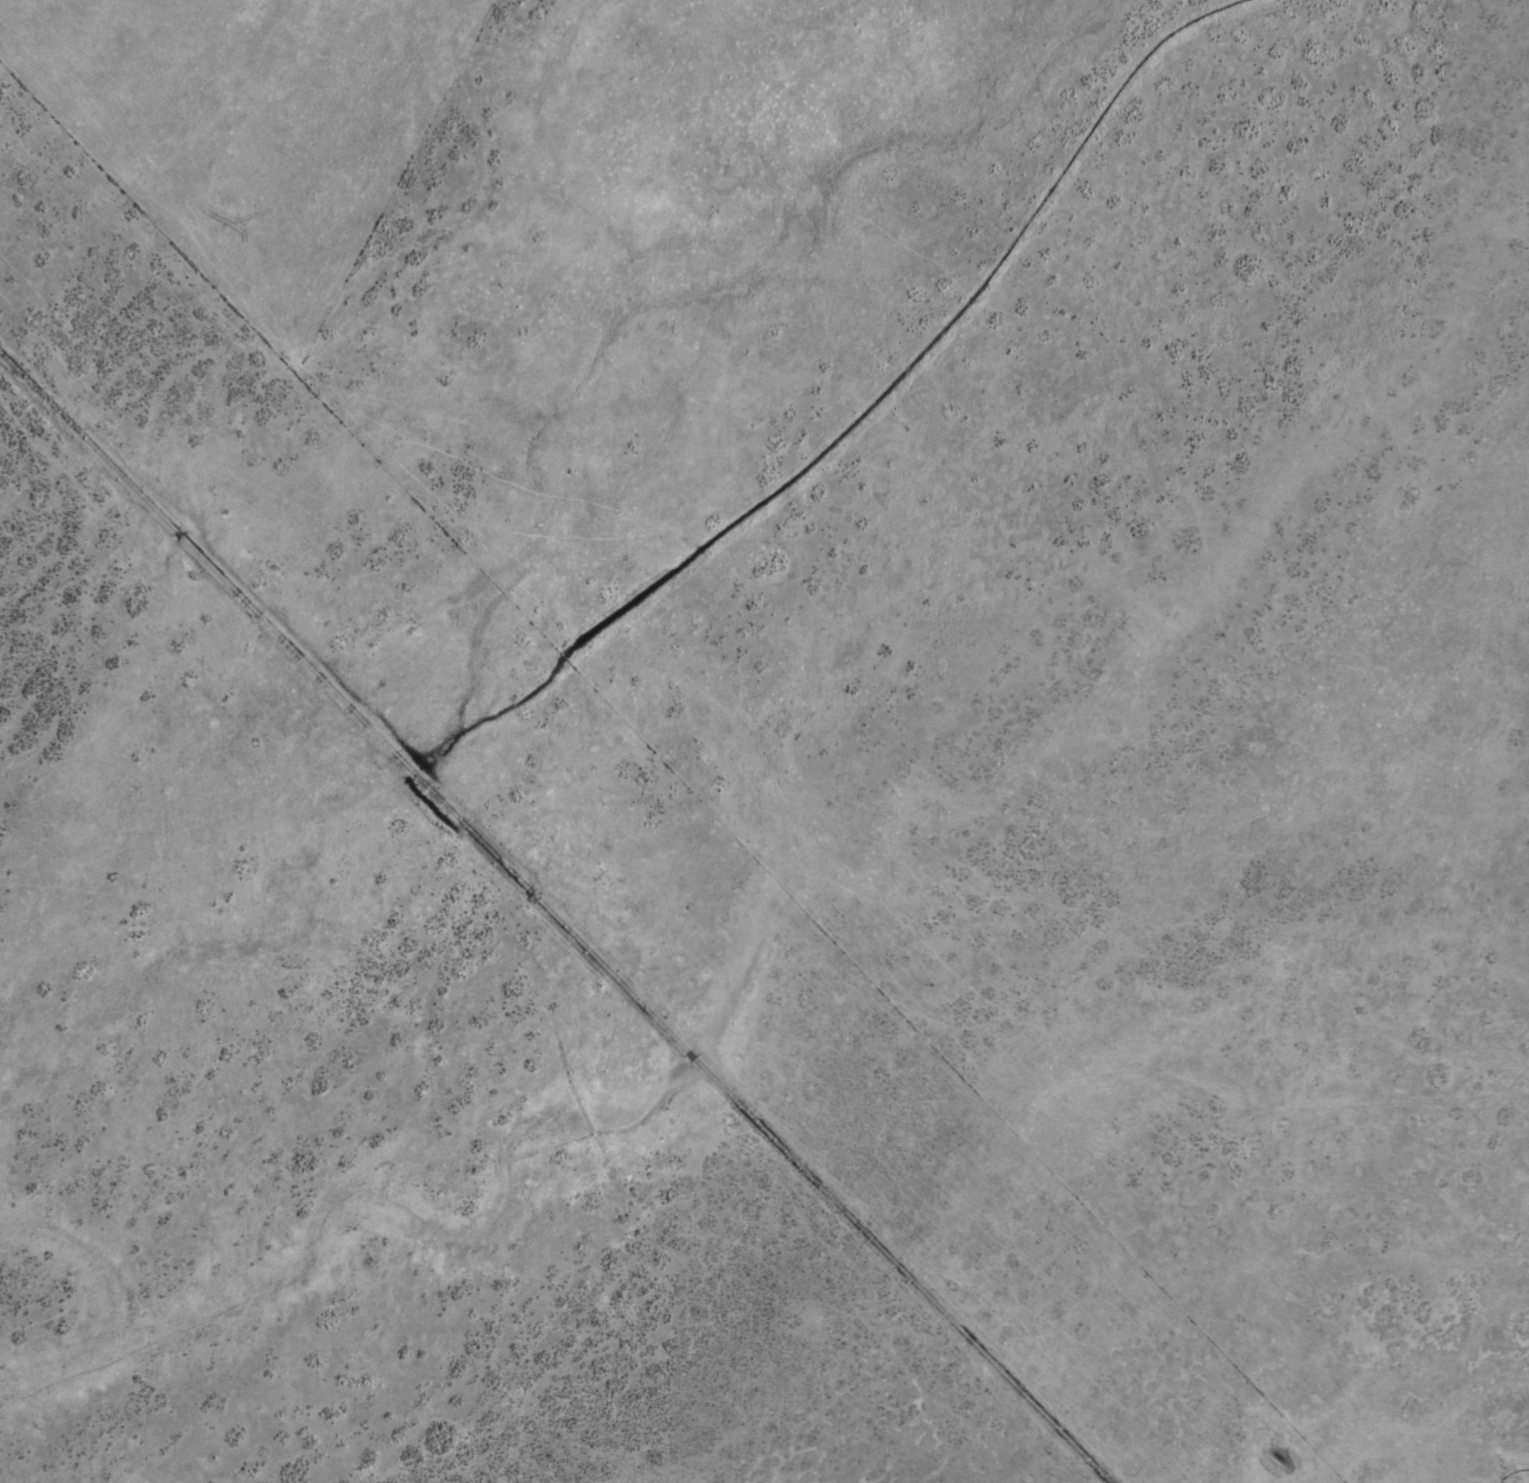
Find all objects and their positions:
crop: (764, 741)
railway: (554, 919)

